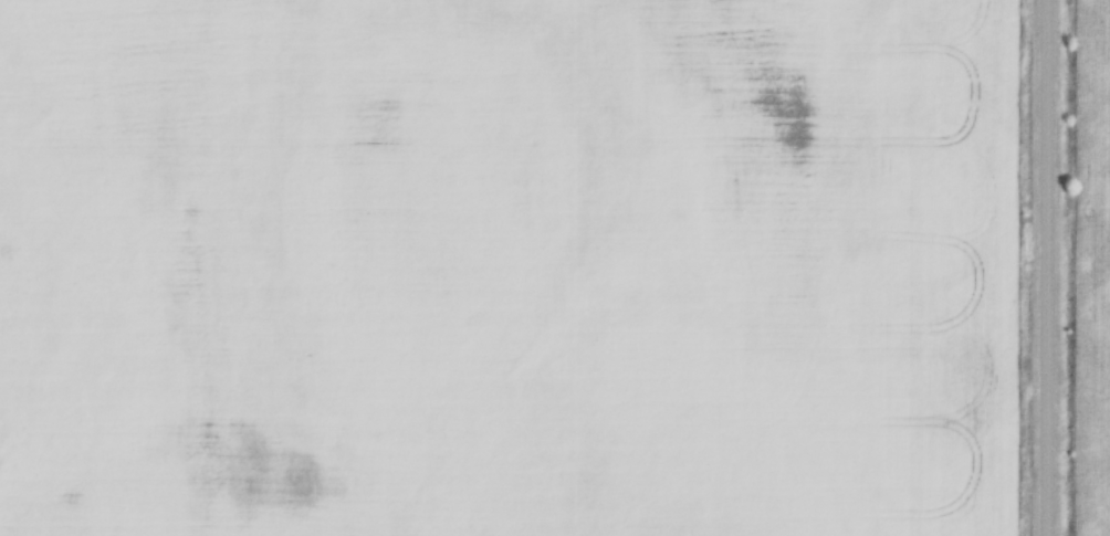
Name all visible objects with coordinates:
road: (1047, 267)

